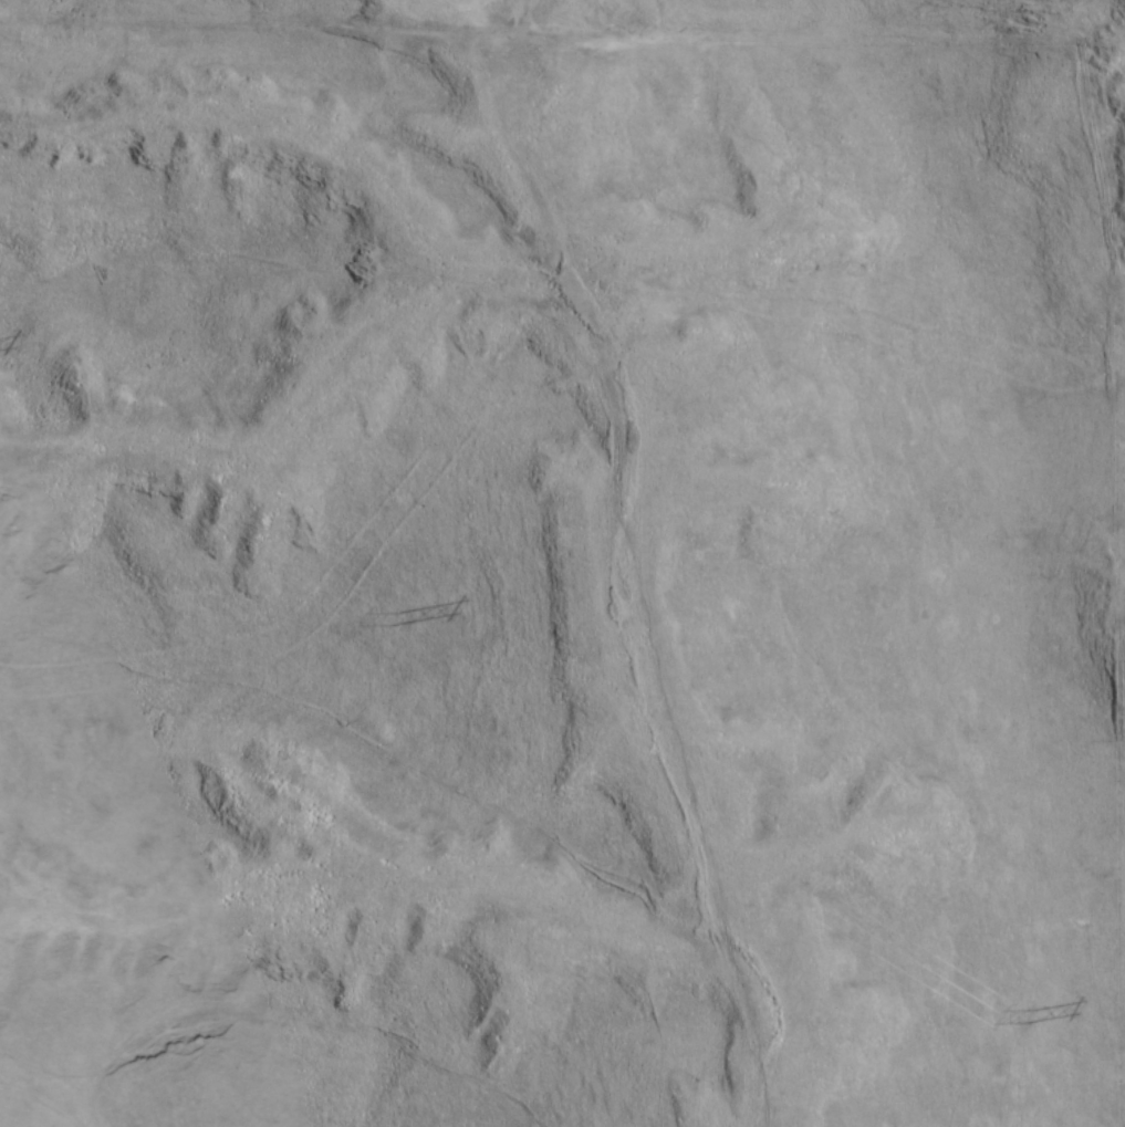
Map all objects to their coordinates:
power tower: (393, 620)
power tower: (1028, 1016)

